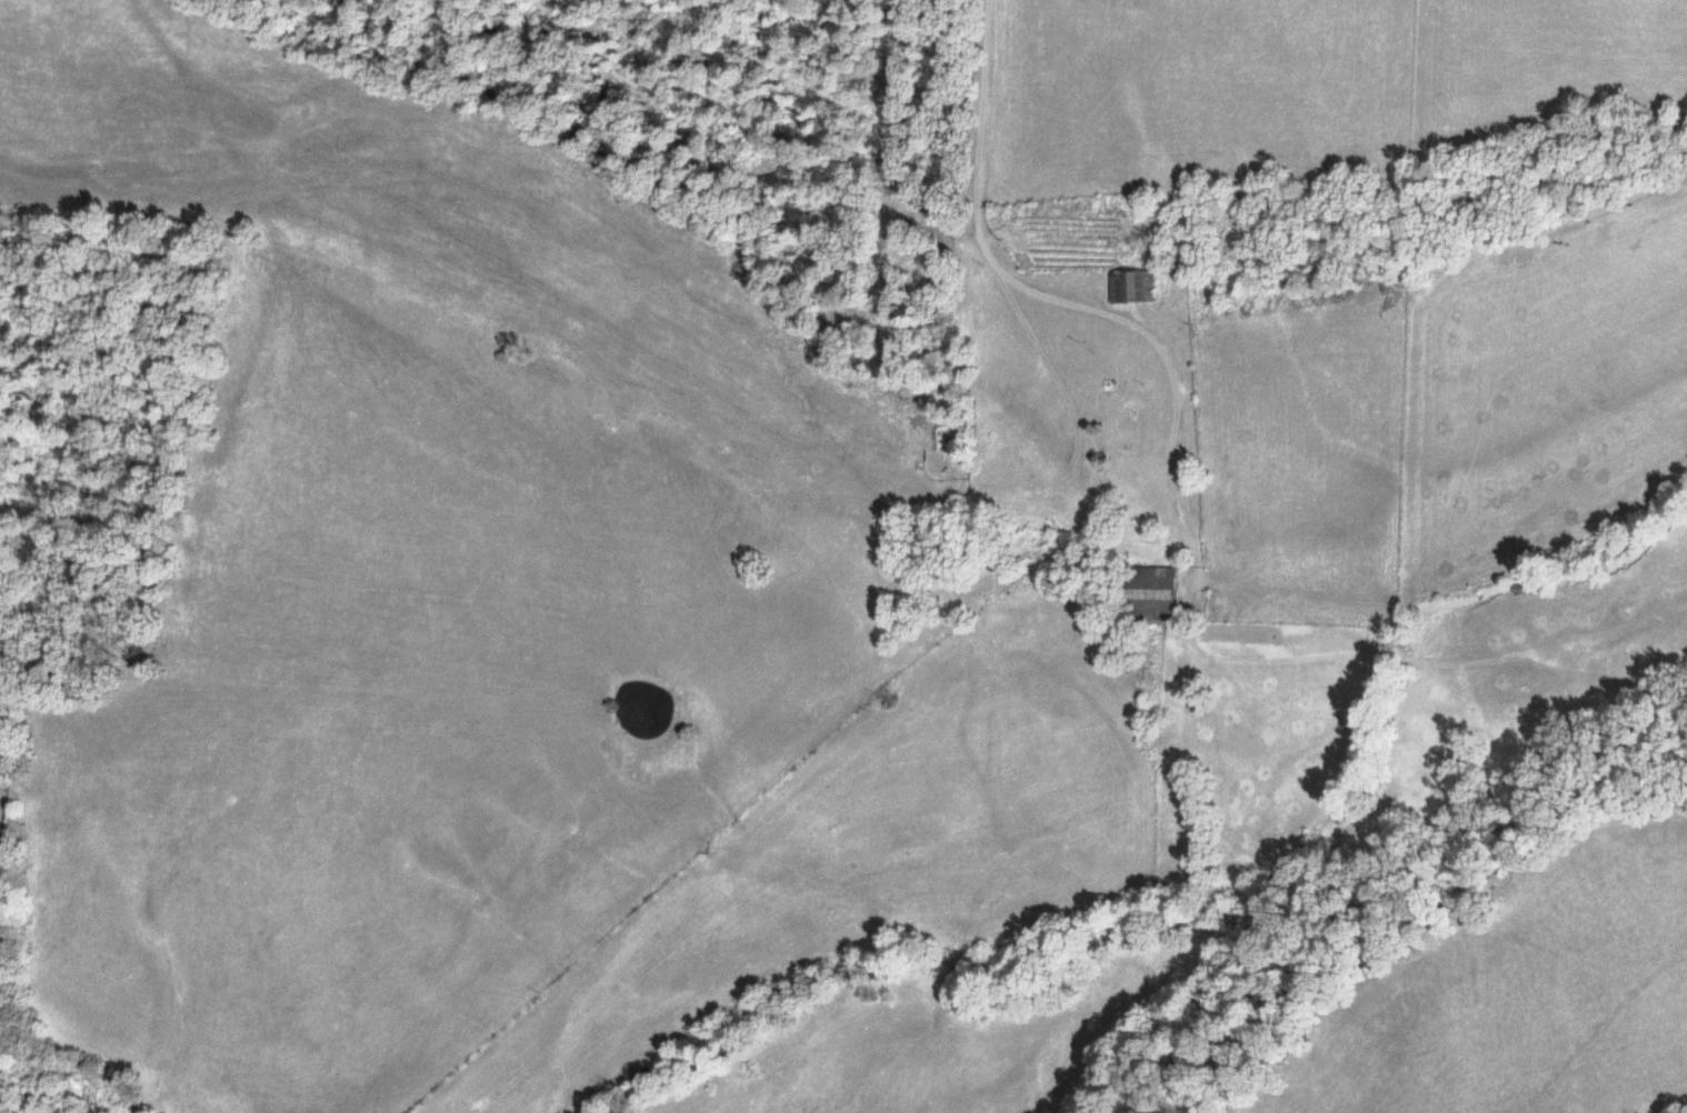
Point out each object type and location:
building: (1134, 285)
road: (1068, 298)
building: (1154, 592)

